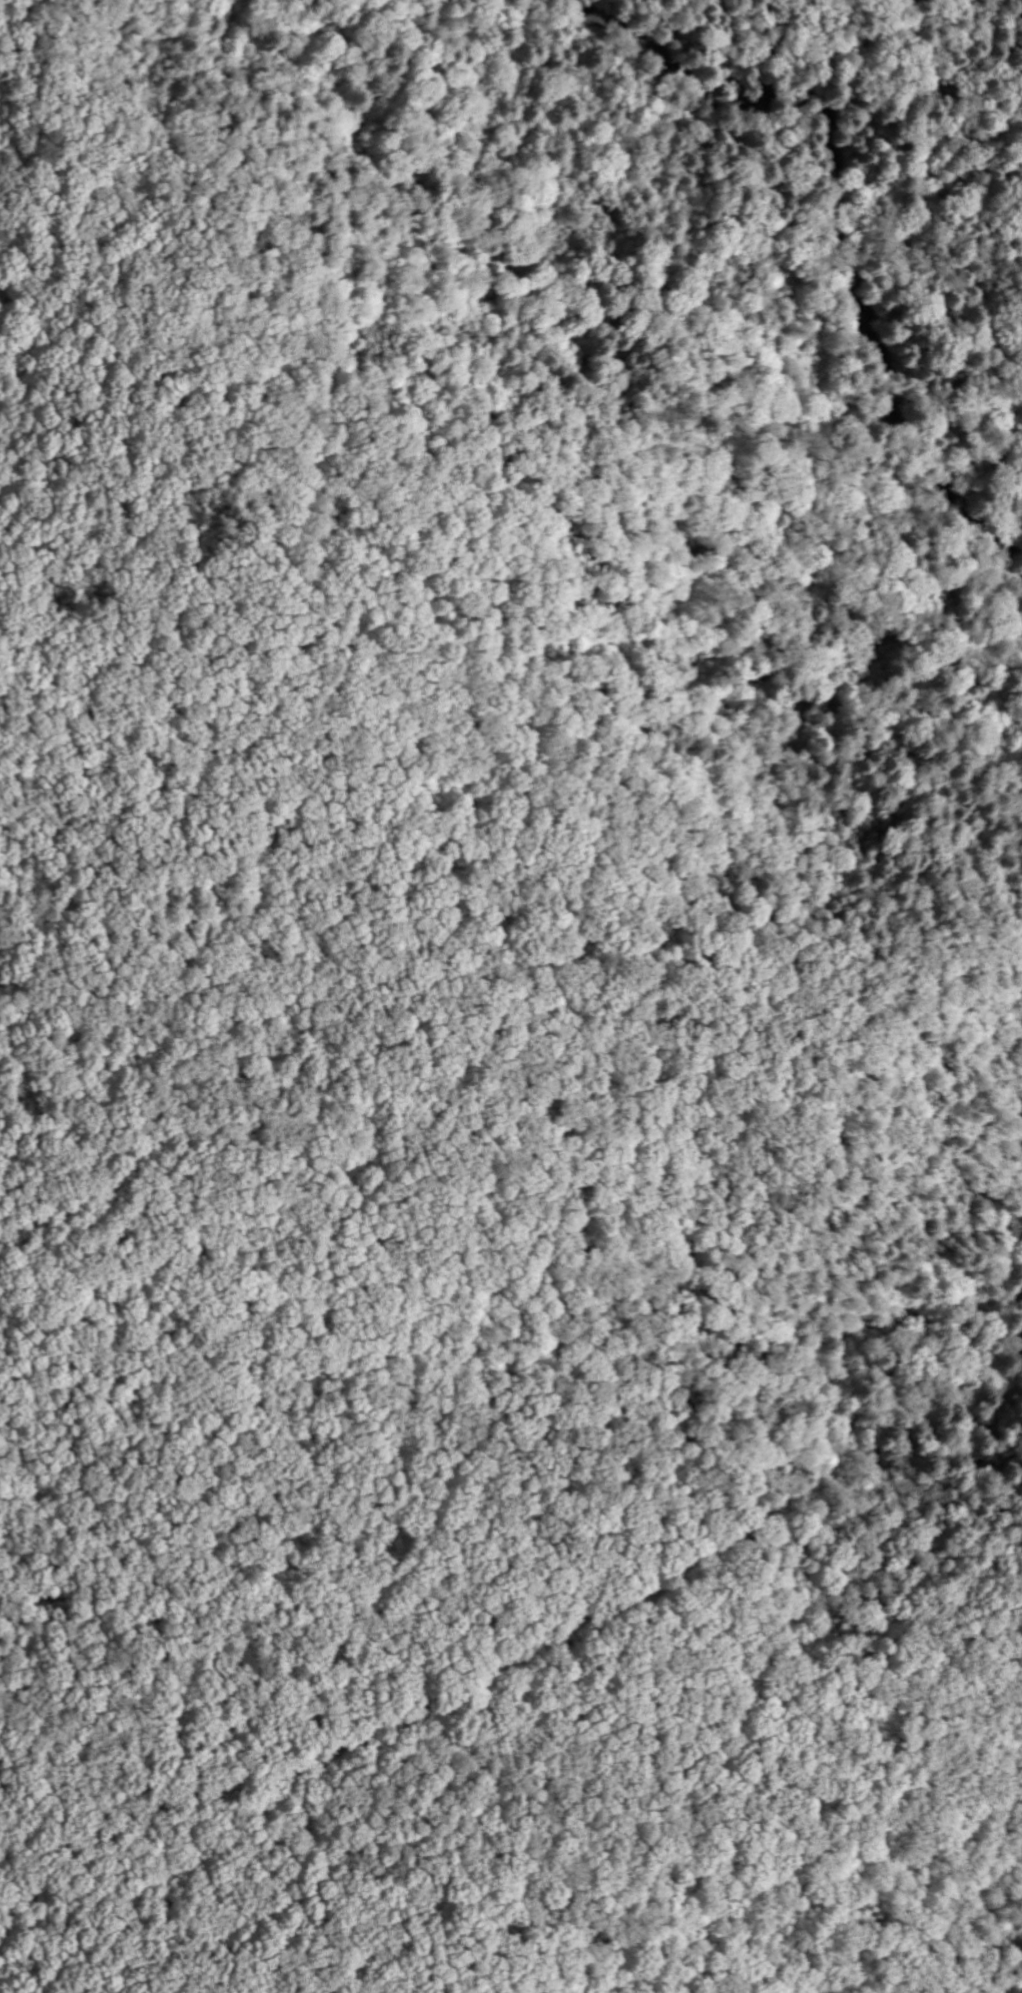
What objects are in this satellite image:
road: (356, 1741)

